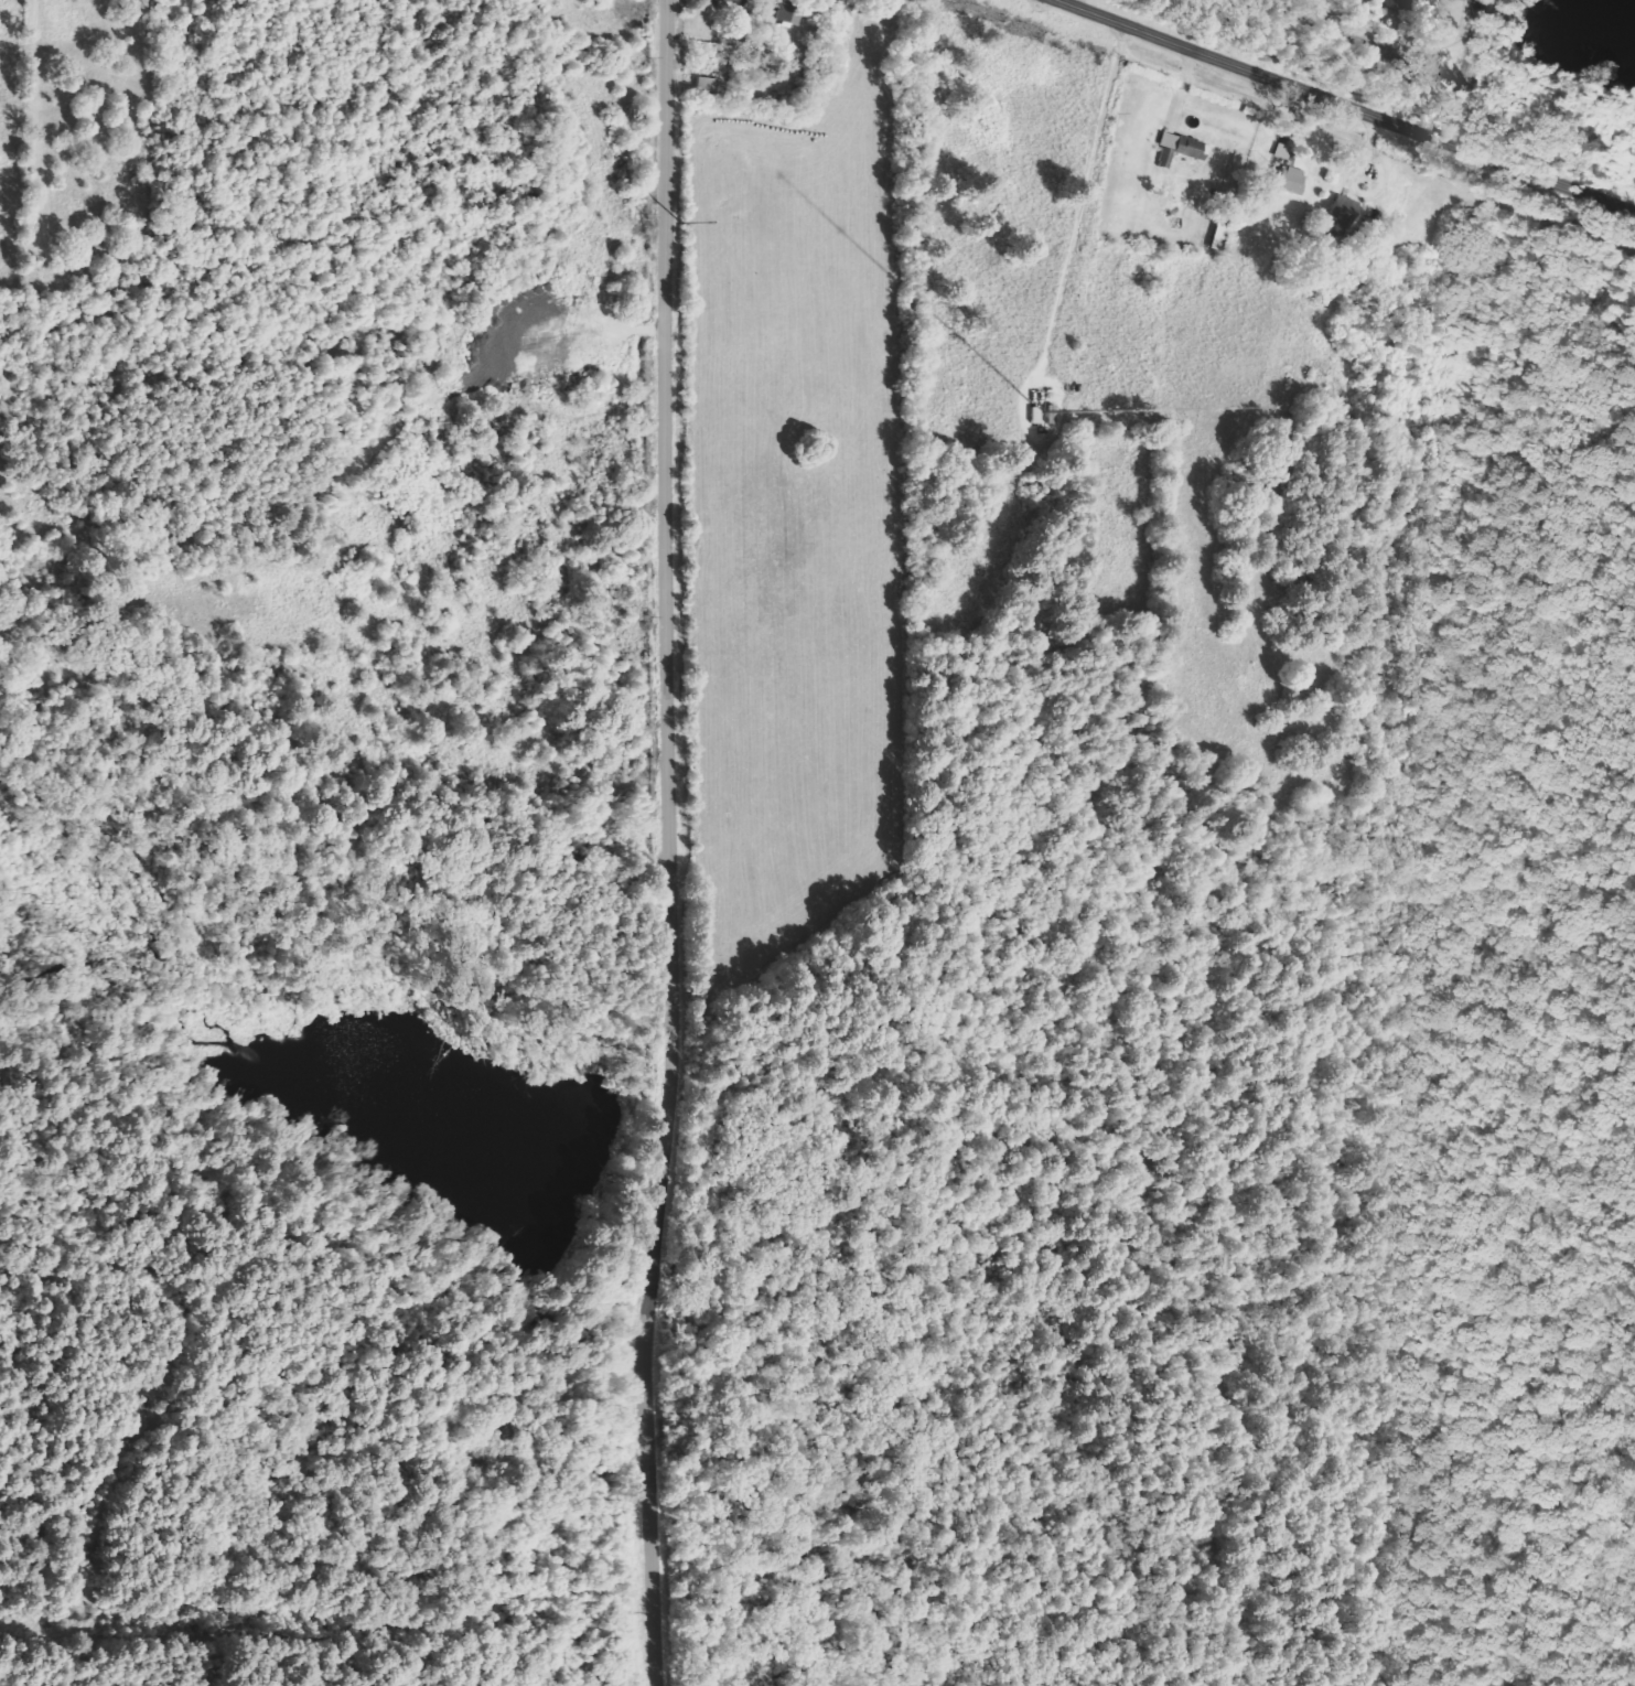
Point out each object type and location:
building: (730, 0)
building: (1395, 4)
building: (792, 11)
road: (1372, 52)
road: (1463, 69)
road: (1345, 105)
building: (1179, 148)
building: (1283, 151)
building: (1292, 180)
building: (1344, 215)
road: (671, 844)

